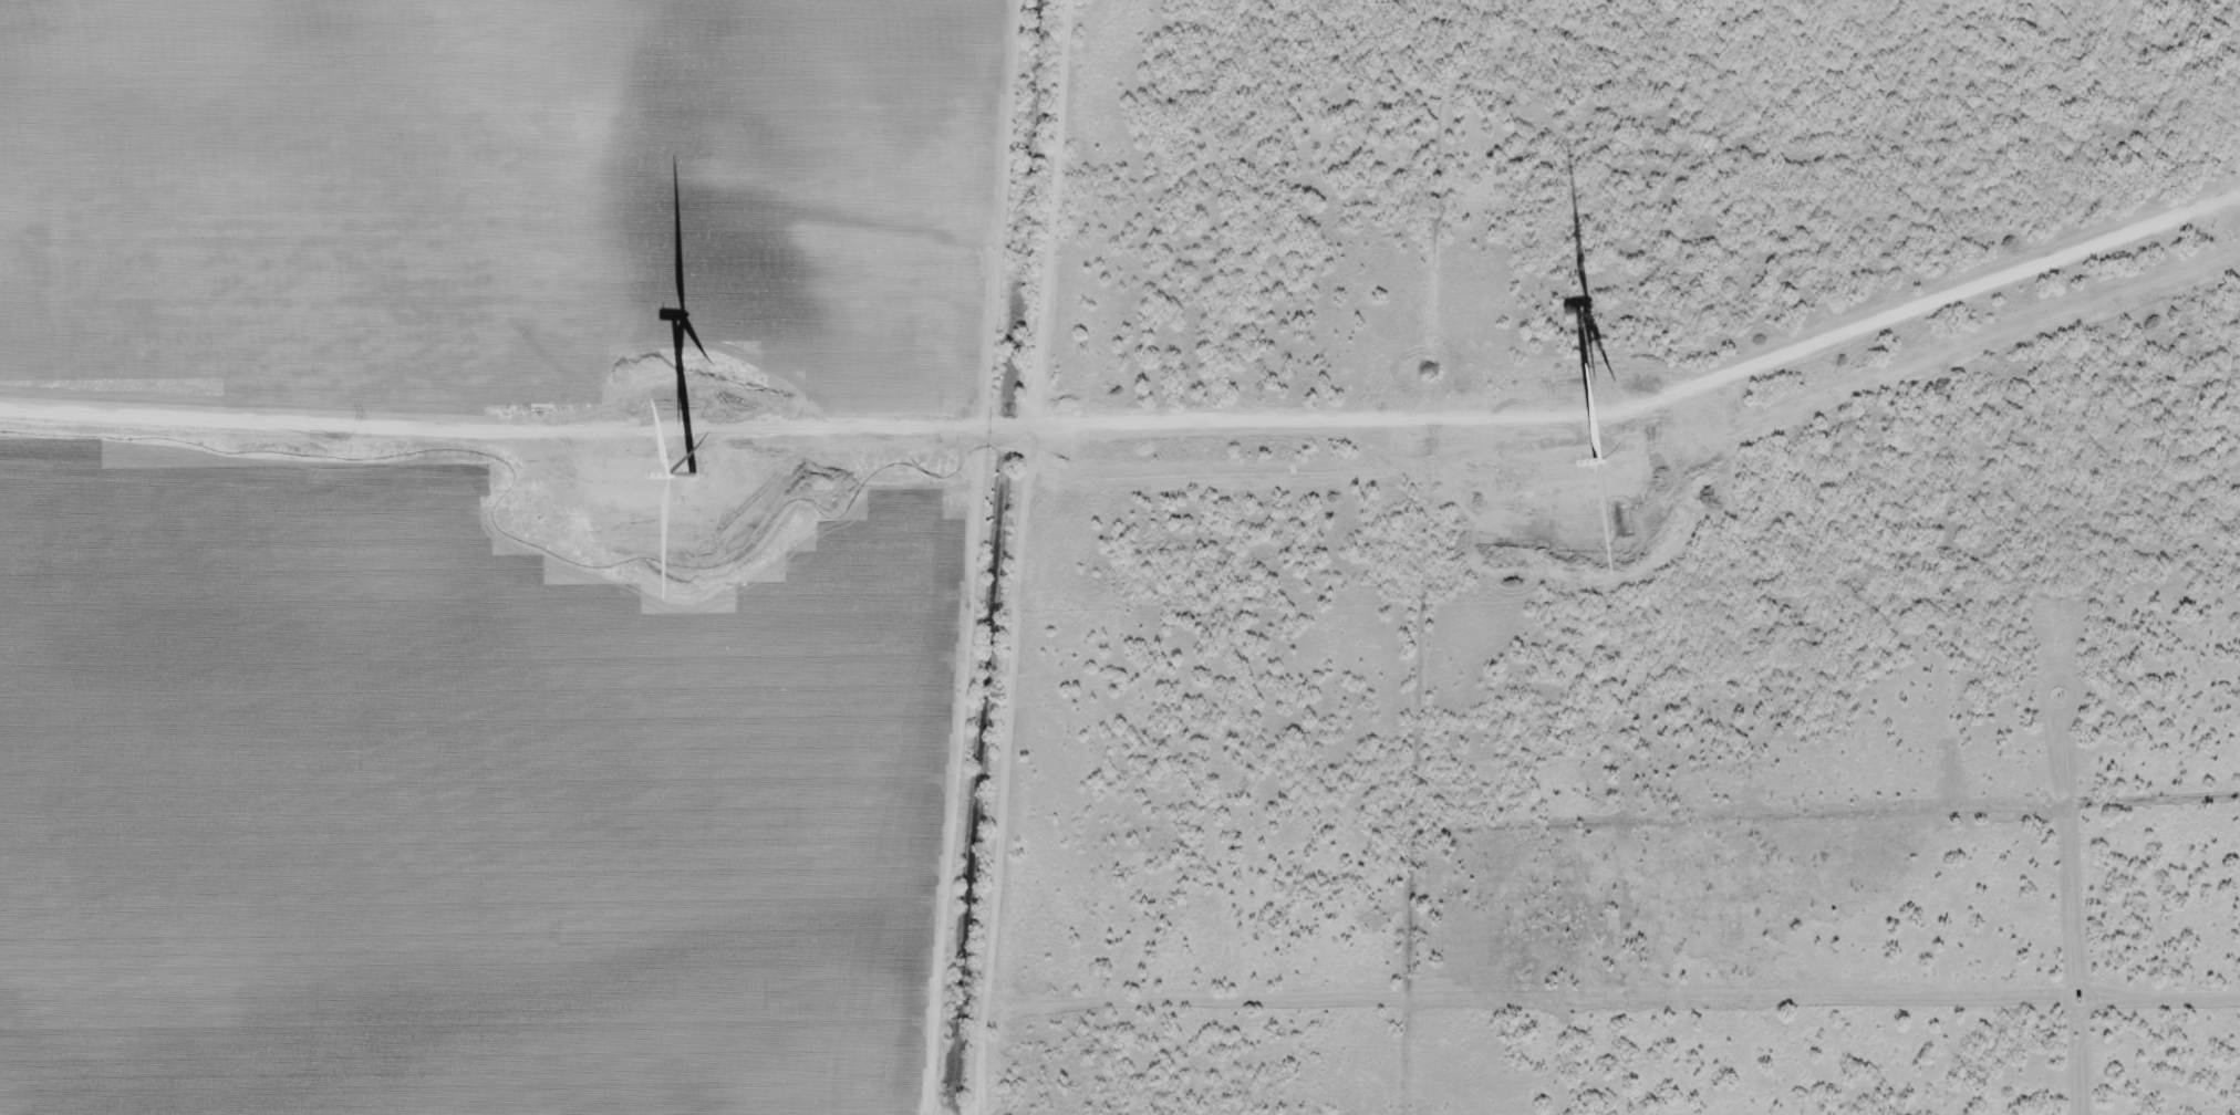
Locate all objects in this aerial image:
road: (1138, 426)
wind turbine: (1596, 462)
wind turbine: (693, 476)

